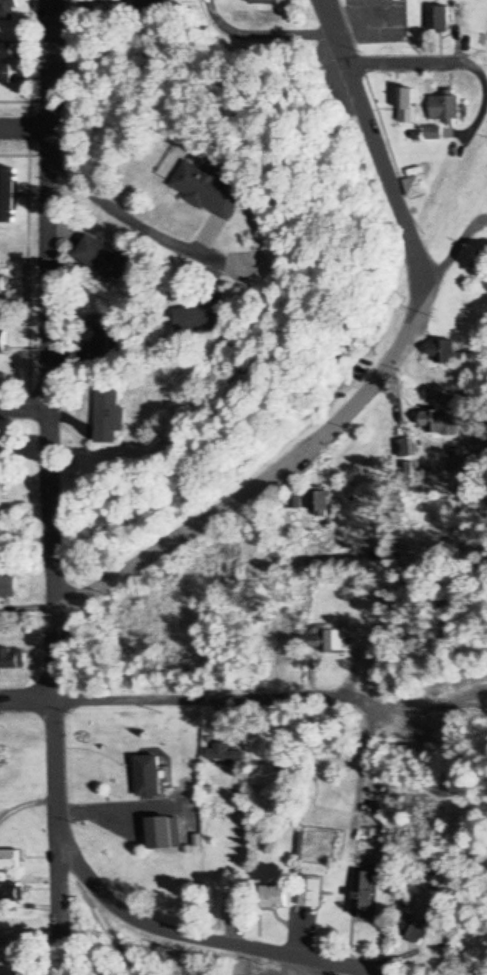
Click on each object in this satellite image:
building: (97, 0)
building: (265, 2)
building: (8, 10)
building: (438, 18)
building: (6, 51)
road: (397, 68)
building: (6, 73)
building: (405, 105)
building: (445, 109)
road: (23, 128)
building: (412, 187)
building: (206, 189)
building: (9, 194)
road: (117, 212)
building: (106, 258)
building: (3, 282)
building: (204, 315)
building: (98, 334)
building: (3, 342)
building: (446, 352)
road: (376, 373)
road: (23, 407)
building: (111, 417)
building: (1, 474)
building: (293, 499)
building: (318, 504)
building: (7, 588)
road: (53, 588)
building: (330, 642)
building: (11, 658)
road: (180, 703)
building: (223, 753)
building: (147, 777)
building: (162, 834)
building: (10, 860)
building: (9, 892)
building: (308, 894)
building: (362, 895)
building: (270, 898)
building: (411, 930)
building: (8, 970)

